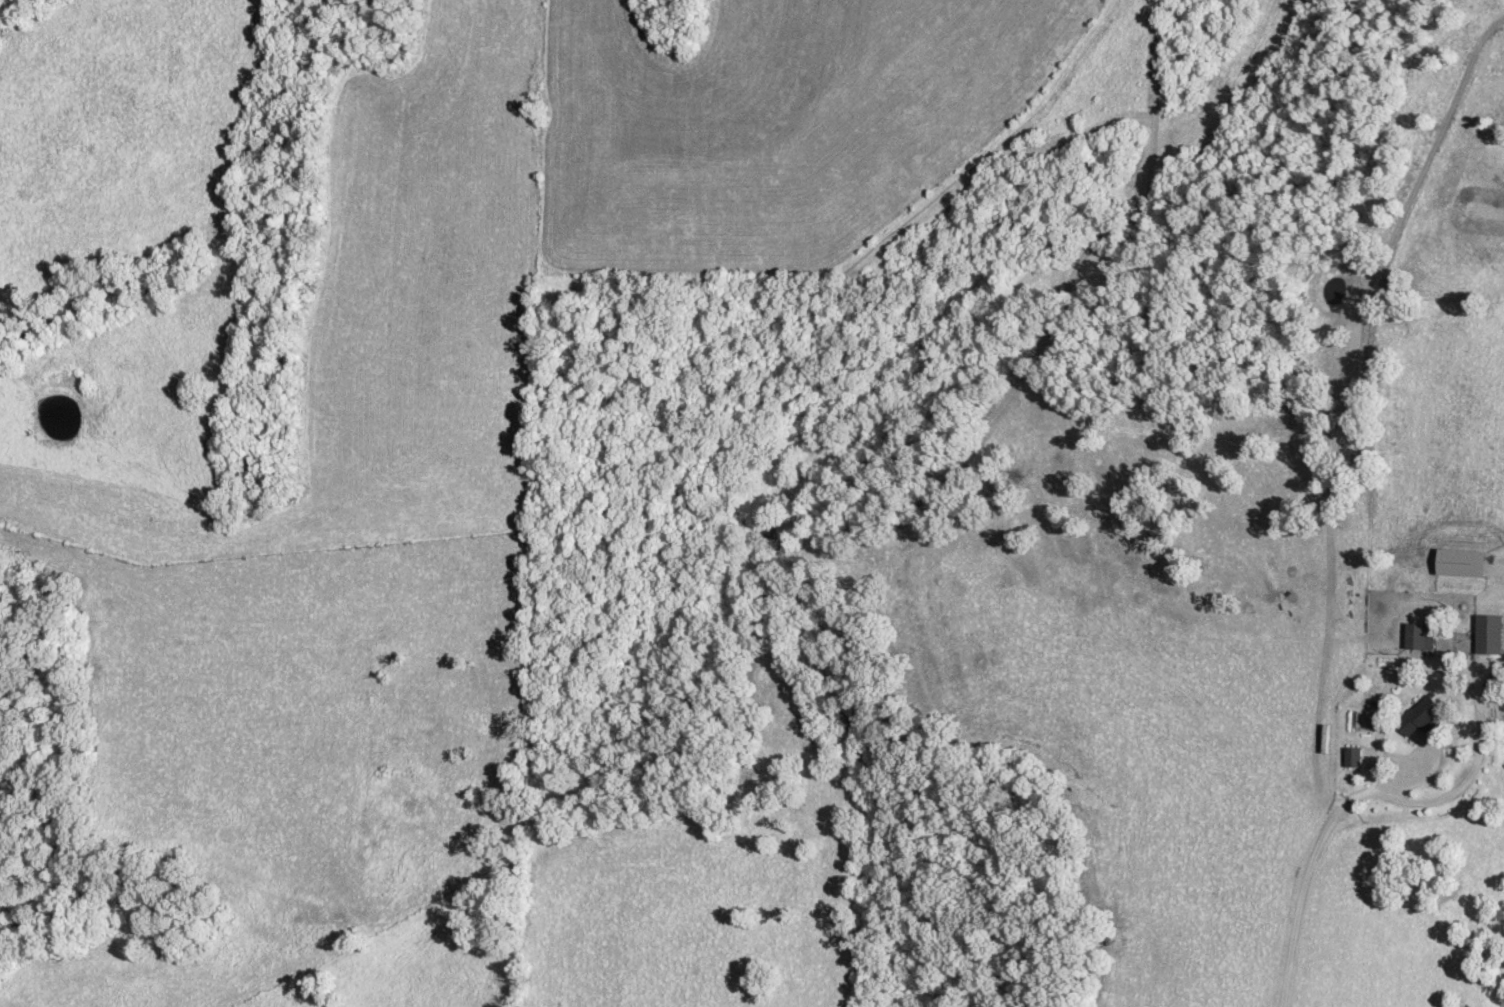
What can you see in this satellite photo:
building: (1459, 562)
building: (1488, 634)
building: (1418, 636)
building: (1420, 716)
building: (1351, 756)
road: (1317, 866)

